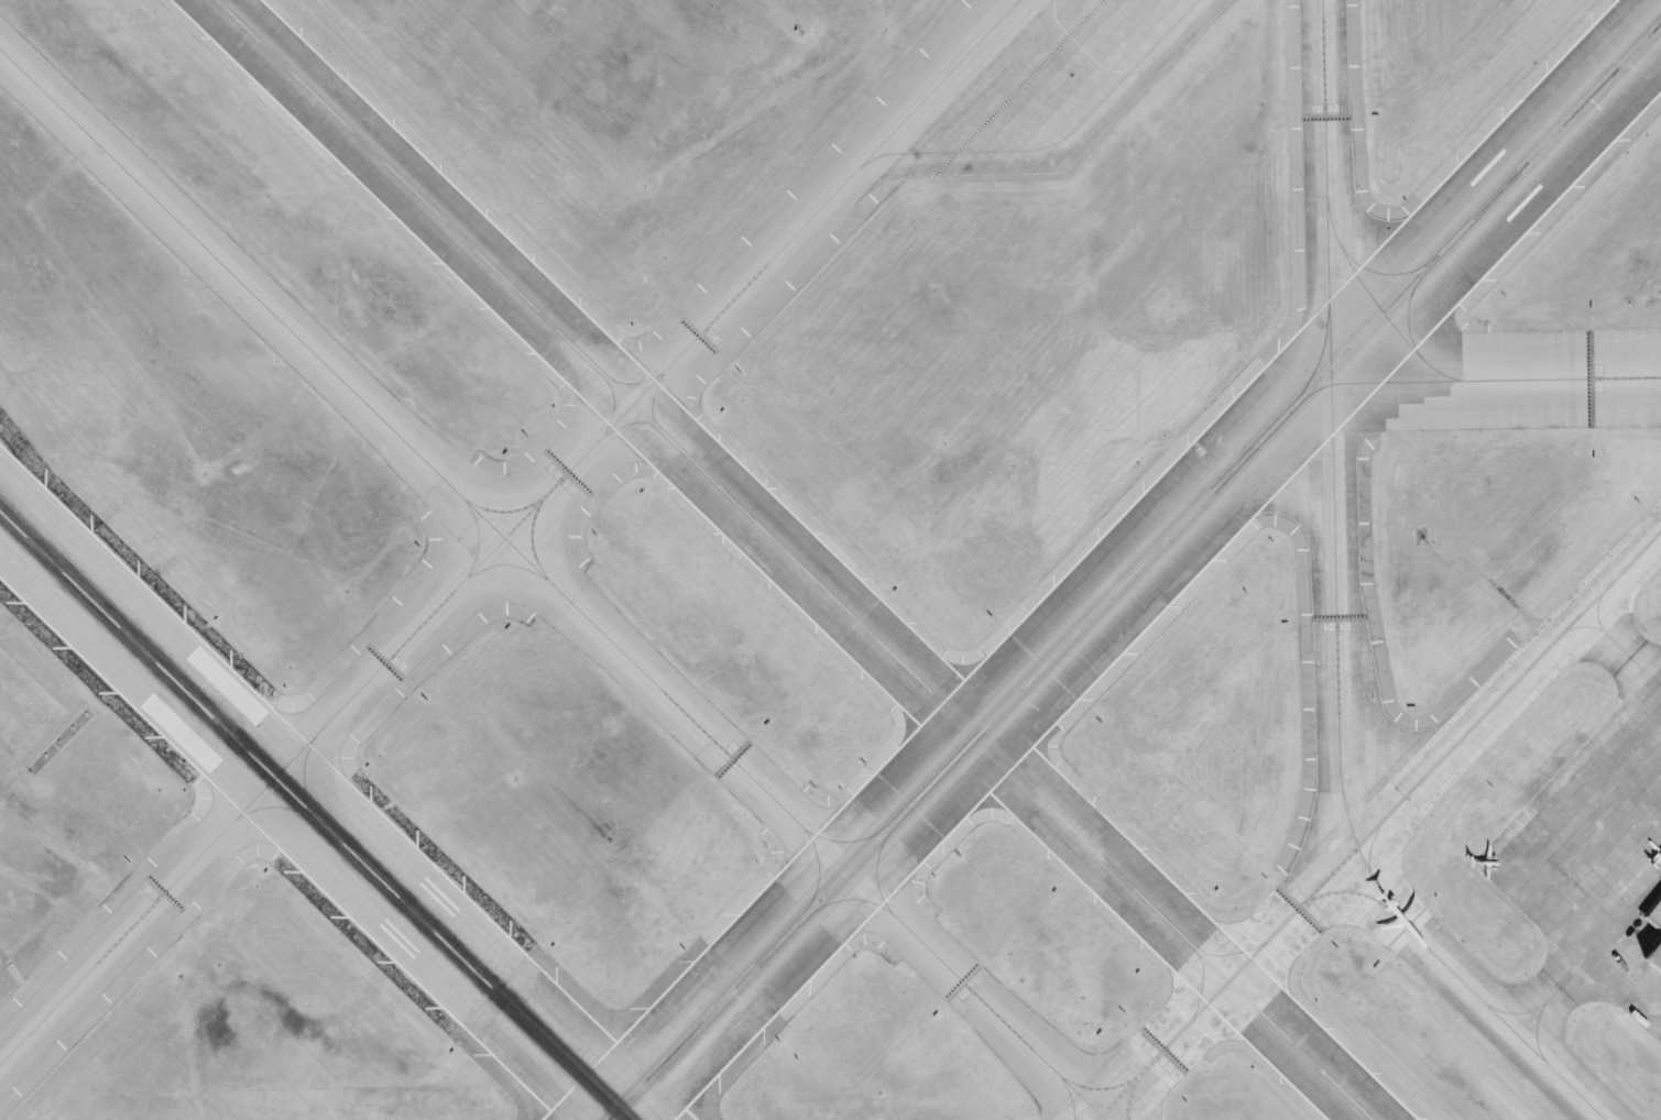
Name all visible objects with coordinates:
airport apron: (1082, 86)
airport taxiway: (1057, 142)
airport taxiway: (1394, 274)
airport taxiway: (1408, 296)
airport taxiway: (1380, 310)
airport taxiway: (1322, 339)
airport taxiway: (1496, 378)
airport taxiway: (1308, 395)
airport taxiway: (503, 510)
airport taxiway: (513, 535)
airport taxiway: (477, 539)
airport taxiway: (531, 542)
airport runway: (794, 559)
airport: (830, 560)
airport taxiway: (509, 566)
airport runway: (1135, 570)
airport taxiway: (553, 584)
airport taxiway: (1336, 610)
airport taxiway: (1622, 643)
airport runway: (314, 815)
airport taxiway: (883, 824)
airport taxiway: (1378, 826)
airport taxiway: (892, 831)
airport taxiway: (1369, 849)
airport apron: (1598, 859)
airport taxiway: (816, 889)
airport taxiway: (1349, 891)
airport taxiway: (828, 904)
building: (1652, 937)
airport taxiway: (1548, 999)
airport taxiway: (1099, 1088)
airport taxiway: (1070, 1095)
airport taxiway: (1130, 1096)

